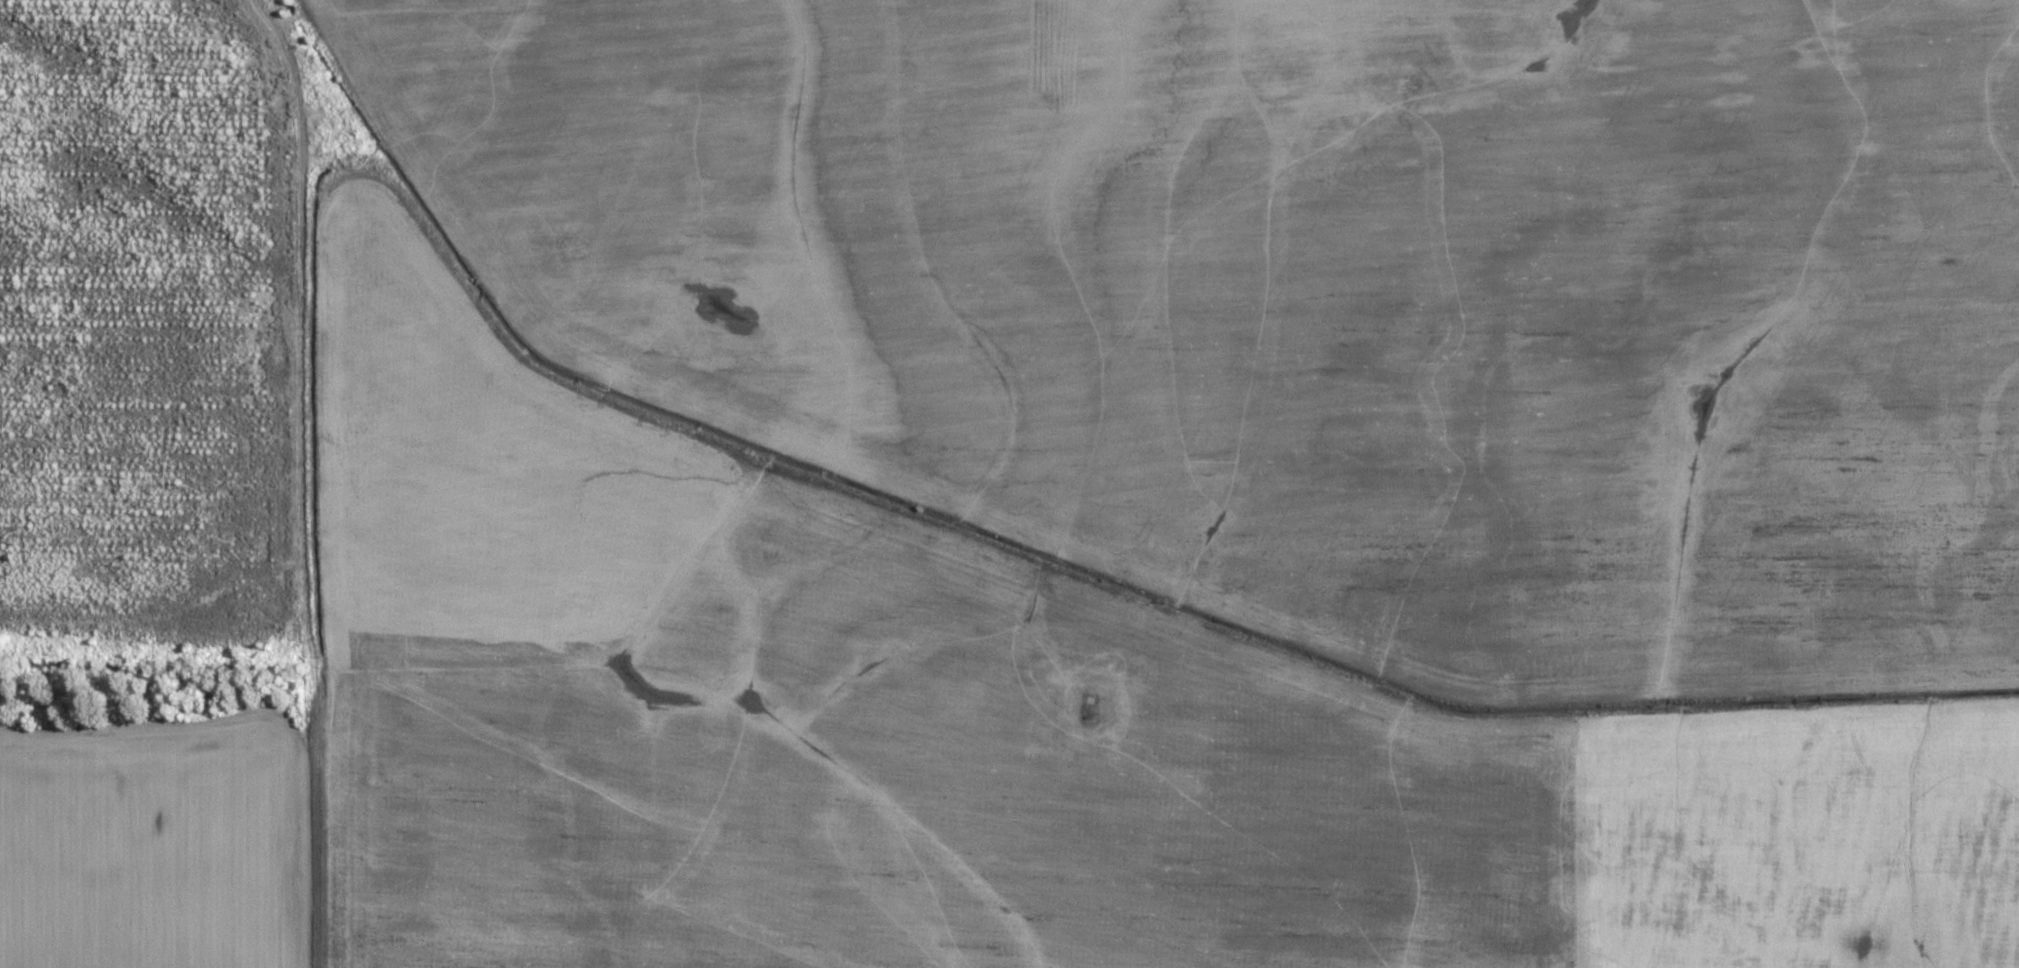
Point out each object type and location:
road: (307, 479)
road: (1049, 541)

